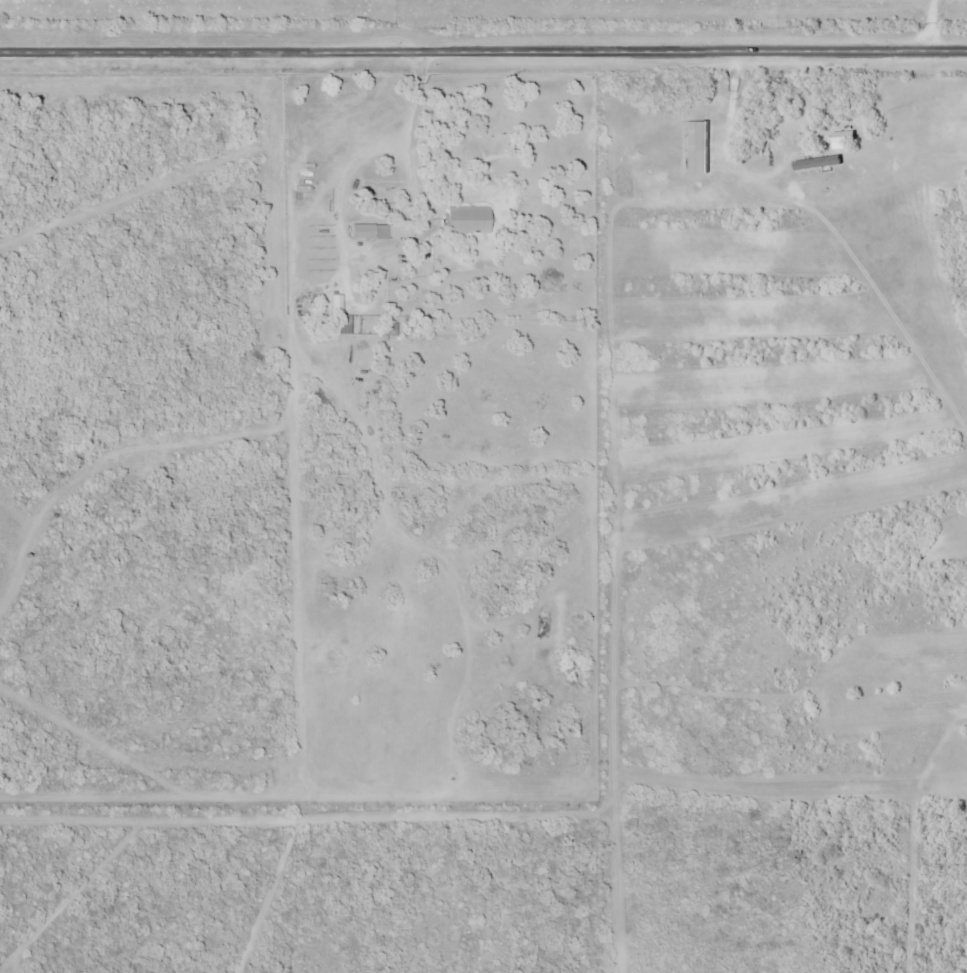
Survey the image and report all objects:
road: (931, 25)
road: (483, 51)
road: (412, 142)
building: (465, 219)
building: (378, 230)
building: (314, 235)

